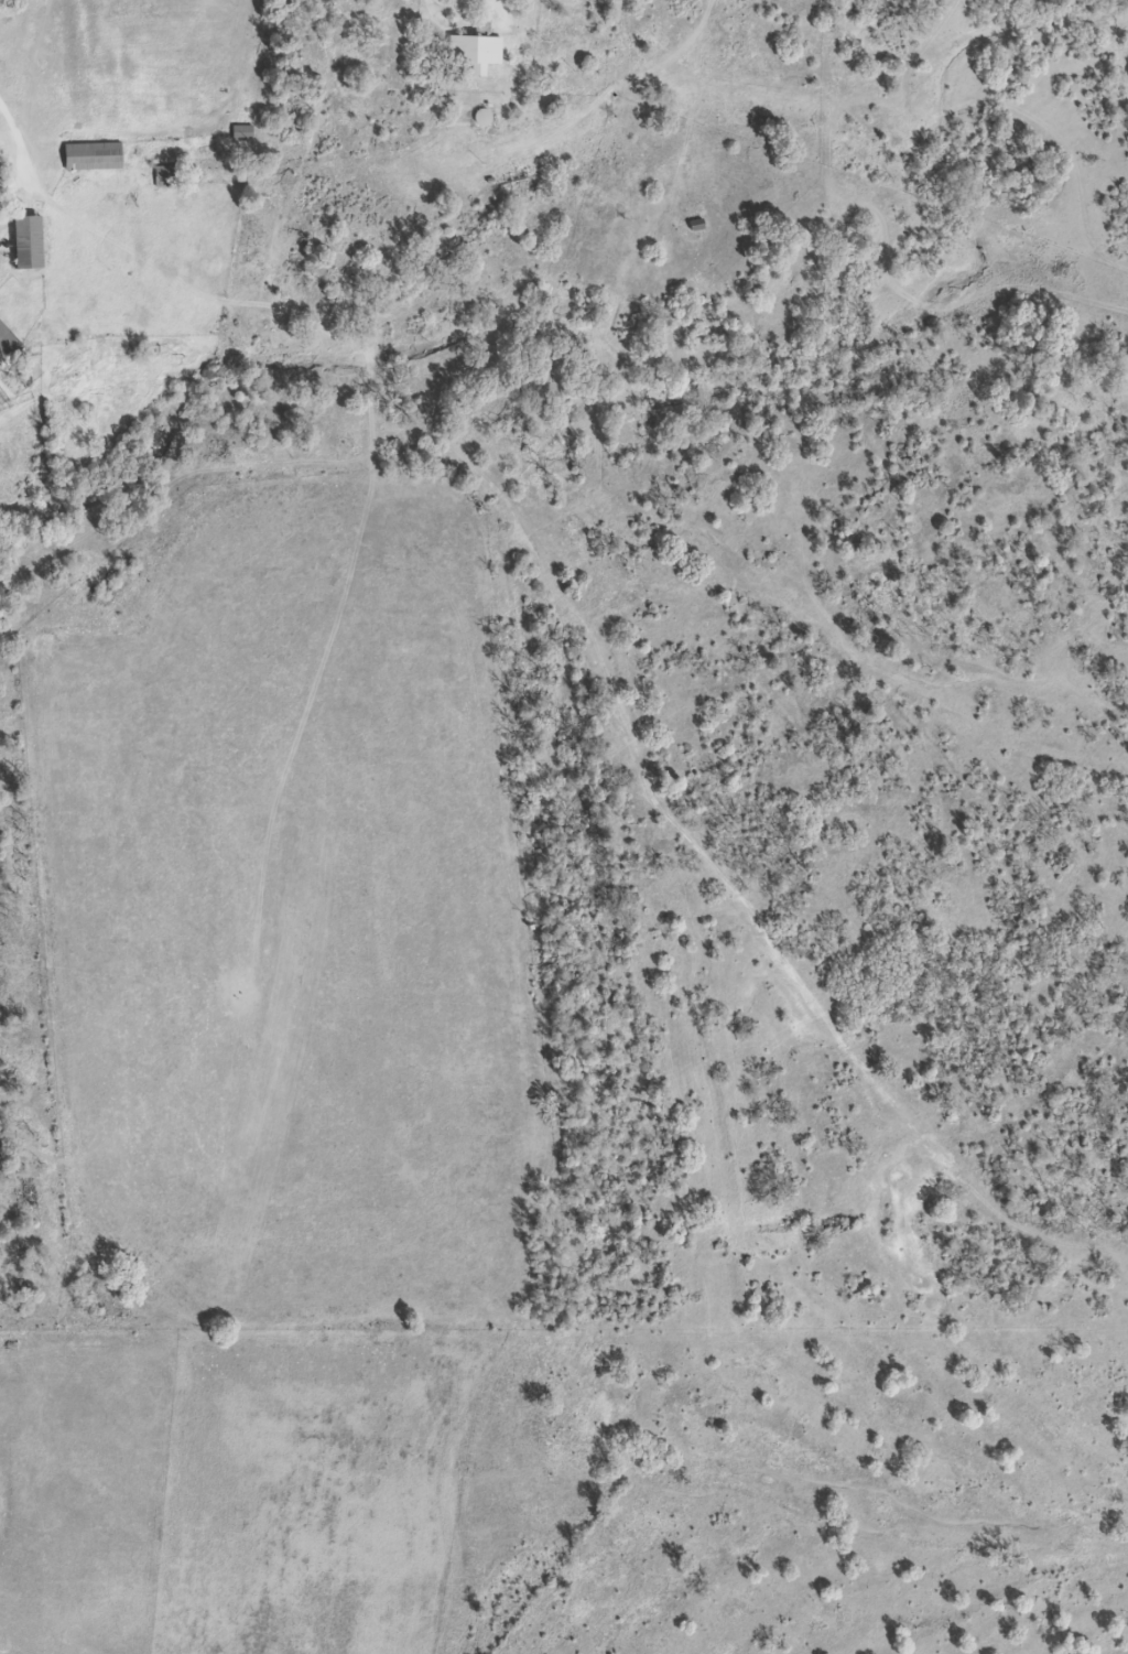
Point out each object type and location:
building: (469, 50)
building: (238, 132)
road: (17, 138)
building: (84, 156)
building: (17, 240)
road: (607, 287)
building: (4, 344)
road: (720, 803)
road: (466, 1395)
road: (916, 1504)

